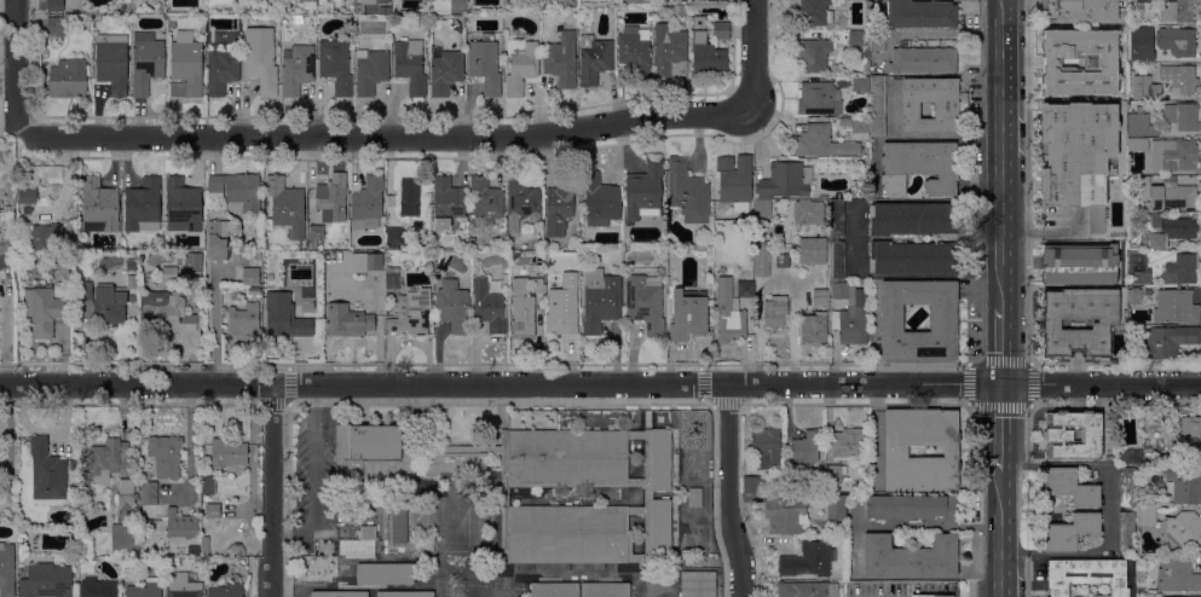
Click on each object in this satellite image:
building: (307, 1)
building: (374, 1)
building: (637, 1)
building: (1150, 1)
building: (54, 6)
building: (457, 6)
building: (67, 7)
building: (121, 8)
building: (683, 10)
building: (387, 11)
building: (1079, 11)
building: (1177, 12)
building: (813, 13)
building: (920, 15)
building: (56, 27)
building: (720, 30)
road: (947, 35)
building: (856, 39)
building: (877, 41)
building: (1066, 41)
building: (1176, 41)
building: (634, 51)
building: (706, 51)
building: (670, 52)
building: (1137, 52)
building: (1099, 54)
building: (812, 56)
building: (561, 59)
building: (593, 59)
building: (923, 60)
building: (145, 62)
building: (111, 63)
building: (485, 64)
road: (16, 65)
building: (335, 65)
building: (410, 65)
building: (520, 65)
building: (185, 66)
building: (261, 66)
building: (221, 68)
building: (296, 69)
building: (370, 71)
building: (445, 71)
building: (1104, 74)
building: (68, 79)
building: (1179, 79)
building: (1059, 80)
building: (861, 85)
building: (1095, 92)
building: (1151, 92)
building: (819, 99)
building: (877, 108)
building: (946, 111)
building: (1182, 116)
building: (1141, 124)
building: (860, 128)
road: (437, 137)
building: (821, 143)
building: (1136, 145)
road: (999, 152)
building: (1174, 156)
building: (1078, 157)
building: (919, 167)
building: (41, 174)
building: (734, 181)
building: (785, 181)
building: (1138, 189)
building: (236, 192)
building: (687, 192)
building: (27, 196)
building: (643, 196)
building: (1171, 197)
building: (409, 198)
building: (486, 199)
building: (521, 199)
building: (331, 201)
building: (600, 201)
building: (446, 202)
building: (183, 204)
building: (366, 204)
building: (98, 205)
building: (143, 205)
building: (285, 205)
building: (558, 208)
building: (762, 208)
building: (807, 213)
building: (836, 218)
building: (914, 218)
building: (1168, 231)
building: (316, 233)
building: (394, 236)
building: (44, 237)
road: (855, 238)
building: (218, 239)
building: (812, 250)
building: (762, 259)
building: (913, 259)
building: (2, 261)
building: (781, 261)
building: (836, 261)
building: (192, 262)
building: (373, 262)
building: (1079, 263)
building: (132, 266)
building: (1182, 268)
building: (59, 269)
building: (1137, 271)
building: (169, 274)
building: (250, 277)
building: (392, 278)
building: (537, 285)
building: (839, 290)
building: (253, 291)
building: (1133, 296)
building: (820, 297)
building: (103, 298)
building: (133, 298)
building: (600, 300)
building: (645, 303)
building: (452, 306)
building: (487, 306)
building: (1174, 306)
building: (521, 308)
building: (44, 311)
building: (166, 312)
building: (411, 312)
building: (732, 312)
building: (774, 312)
building: (688, 315)
building: (283, 317)
building: (943, 317)
building: (243, 319)
building: (347, 320)
building: (851, 320)
building: (1049, 321)
building: (560, 323)
road: (214, 325)
building: (812, 328)
road: (4, 332)
building: (1170, 340)
road: (1000, 344)
road: (700, 383)
traffic signals: (1000, 383)
road: (600, 384)
road: (287, 386)
road: (500, 400)
road: (726, 404)
building: (1156, 423)
road: (999, 428)
building: (1189, 431)
building: (1073, 435)
building: (847, 444)
building: (1, 445)
building: (806, 446)
building: (764, 447)
building: (895, 452)
building: (227, 453)
building: (371, 454)
building: (1126, 454)
building: (164, 456)
building: (567, 458)
building: (105, 459)
building: (660, 460)
building: (456, 463)
building: (2, 469)
building: (833, 474)
building: (47, 475)
building: (1183, 483)
building: (208, 485)
building: (750, 485)
building: (1069, 486)
building: (1126, 487)
road: (271, 491)
road: (727, 491)
building: (647, 495)
building: (504, 497)
building: (694, 498)
building: (148, 502)
building: (836, 508)
building: (911, 508)
building: (1145, 508)
building: (213, 512)
building: (784, 515)
building: (1145, 518)
building: (123, 520)
building: (399, 524)
building: (179, 527)
building: (660, 528)
building: (1185, 531)
building: (1069, 532)
building: (1126, 532)
building: (366, 533)
building: (567, 534)
road: (998, 534)
building: (86, 545)
building: (204, 545)
building: (356, 549)
building: (194, 550)
building: (221, 551)
road: (1093, 556)
building: (910, 557)
building: (807, 561)
building: (6, 570)
building: (385, 574)
building: (1086, 575)
building: (1177, 576)
building: (46, 581)
building: (697, 584)
building: (181, 586)
building: (97, 587)
building: (144, 589)
building: (554, 590)
building: (605, 590)
building: (806, 590)
building: (225, 591)
building: (337, 593)
building: (404, 595)
building: (931, 596)
building: (1162, 596)
building: (1194, 596)

